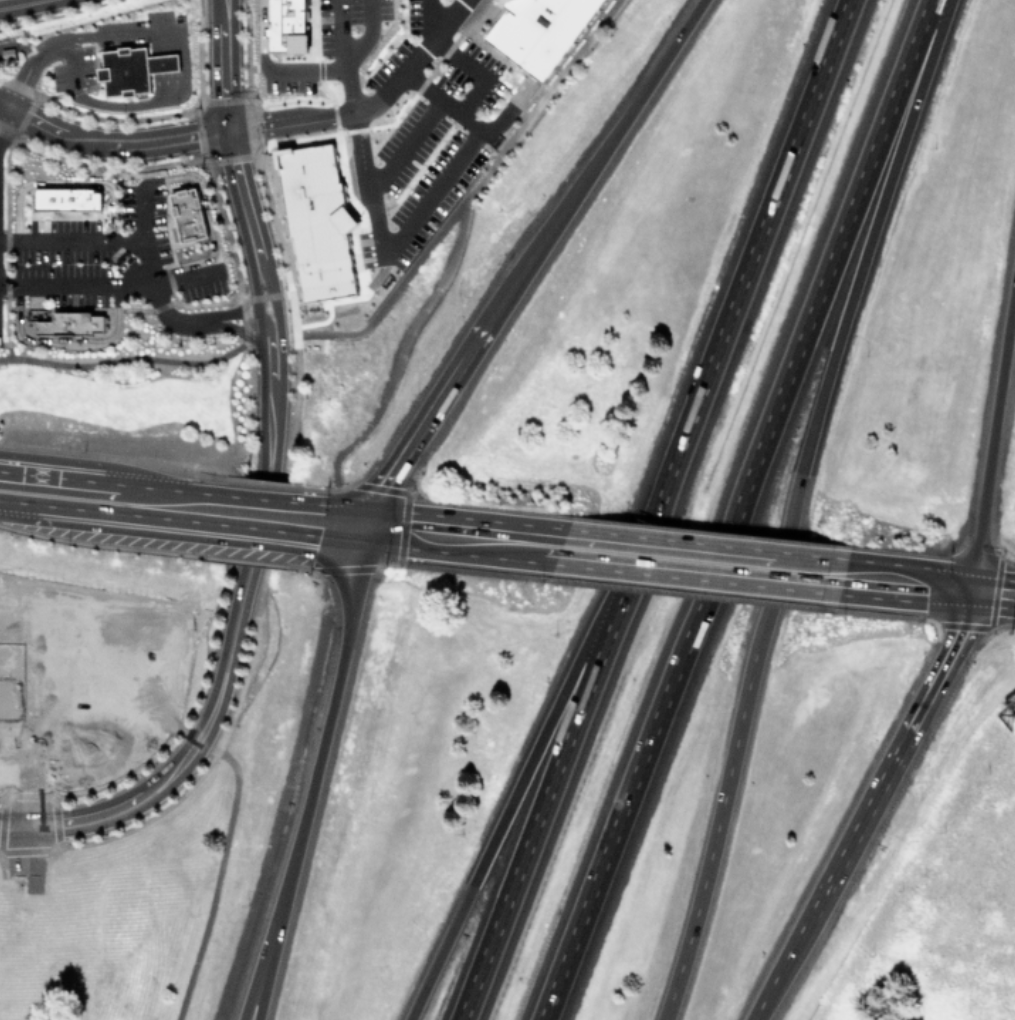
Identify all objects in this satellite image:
building: (503, 1)
road: (21, 4)
building: (285, 24)
road: (126, 30)
building: (540, 30)
road: (340, 32)
road: (364, 34)
road: (261, 35)
parking lot: (333, 43)
building: (8, 52)
parking lot: (442, 54)
road: (459, 60)
road: (163, 62)
road: (71, 63)
road: (223, 66)
road: (307, 67)
building: (131, 68)
road: (26, 69)
parking lot: (73, 70)
road: (132, 102)
road: (367, 106)
road: (354, 112)
road: (469, 121)
traffic signals: (228, 132)
road: (110, 145)
road: (406, 145)
road: (594, 163)
parking lot: (407, 180)
road: (202, 191)
building: (65, 197)
road: (244, 203)
building: (188, 212)
building: (318, 222)
road: (411, 227)
road: (458, 234)
road: (70, 239)
parking lot: (88, 246)
road: (149, 272)
road: (114, 285)
parking lot: (204, 288)
road: (392, 294)
road: (241, 297)
road: (256, 308)
road: (230, 313)
building: (71, 323)
road: (841, 325)
road: (235, 328)
road: (284, 329)
road: (277, 334)
road: (268, 347)
road: (123, 358)
road: (261, 372)
road: (295, 387)
road: (422, 423)
road: (268, 438)
road: (993, 440)
road: (105, 466)
road: (101, 497)
road: (653, 509)
road: (735, 509)
road: (261, 514)
road: (343, 522)
traffic signals: (367, 525)
road: (402, 535)
road: (464, 536)
road: (638, 556)
road: (780, 570)
road: (909, 584)
traffic signals: (973, 591)
road: (993, 593)
road: (43, 630)
road: (247, 660)
building: (76, 664)
gas station: (76, 664)
road: (332, 707)
parking lot: (67, 721)
road: (192, 746)
building: (67, 747)
road: (516, 792)
road: (282, 796)
road: (869, 808)
road: (14, 826)
traffic signals: (28, 826)
road: (713, 839)
road: (216, 881)
road: (265, 954)
road: (273, 954)

